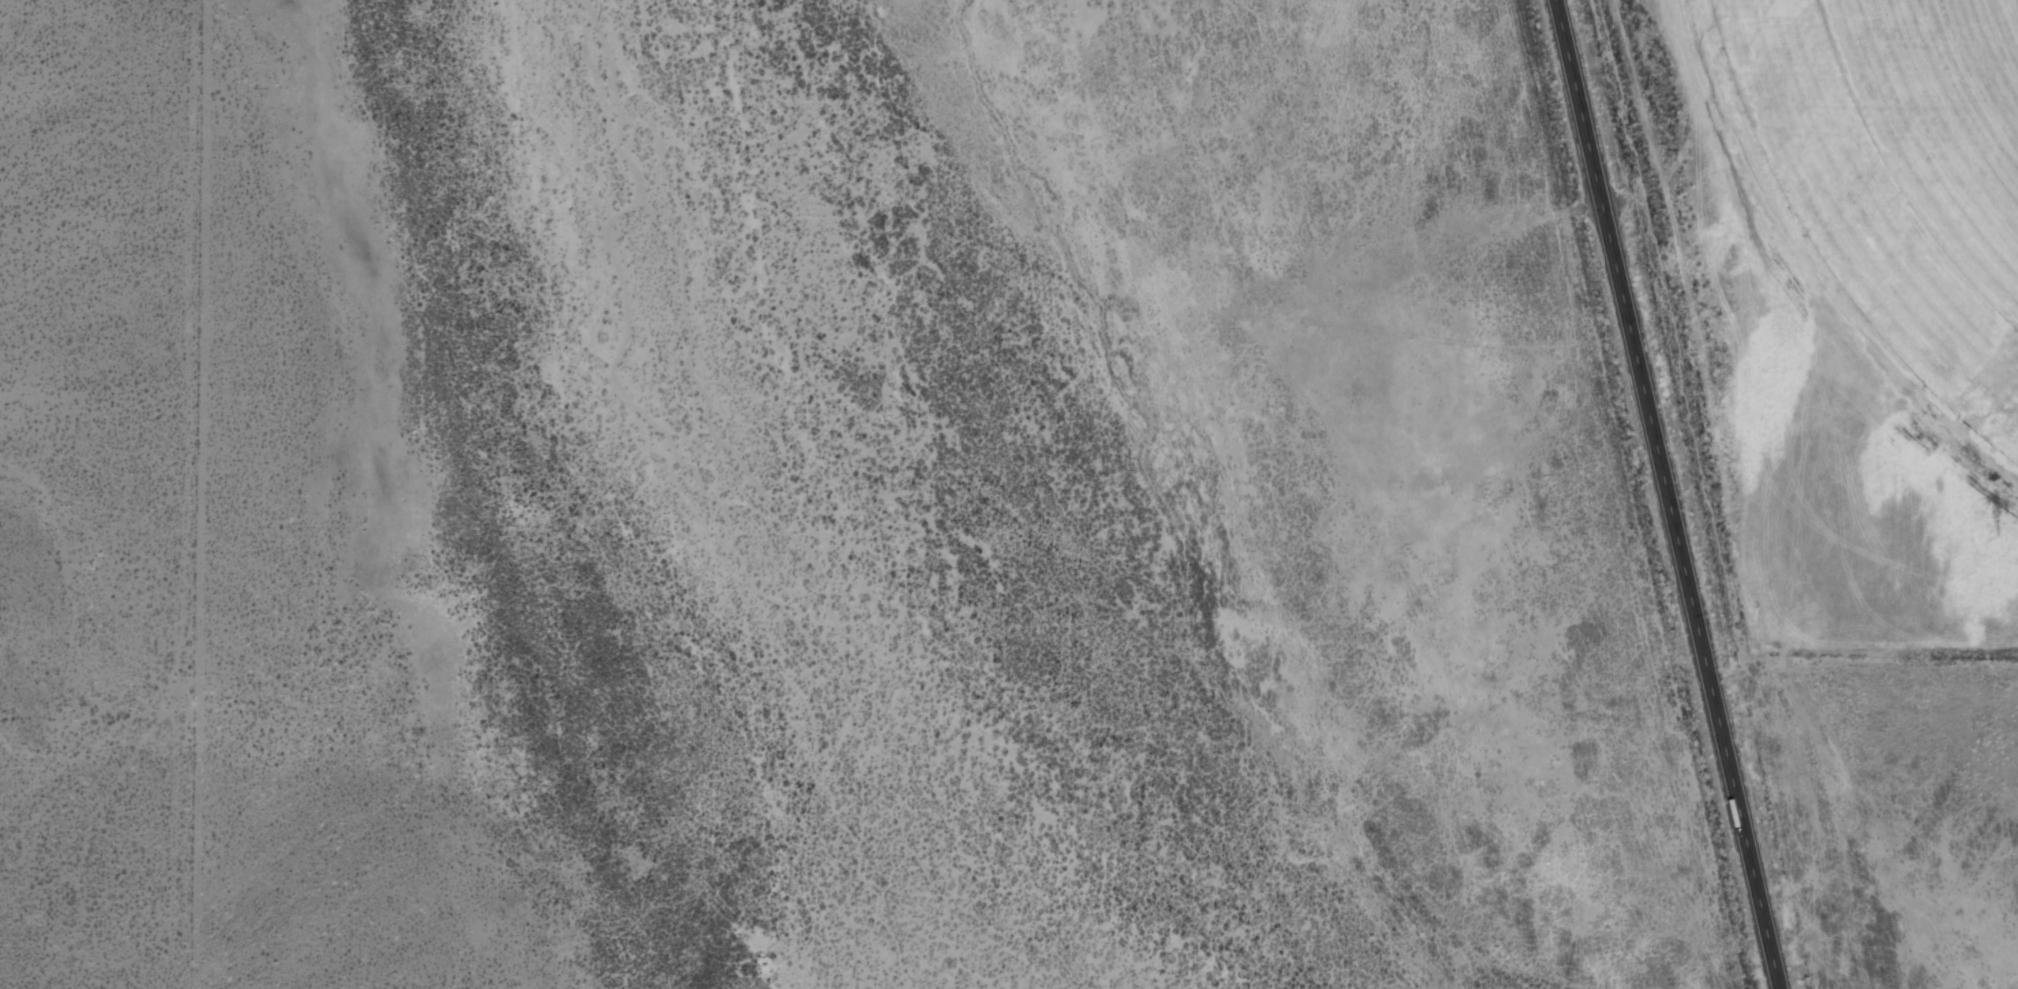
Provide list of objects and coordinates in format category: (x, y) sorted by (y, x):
crop: (1877, 322)
road: (1668, 494)

